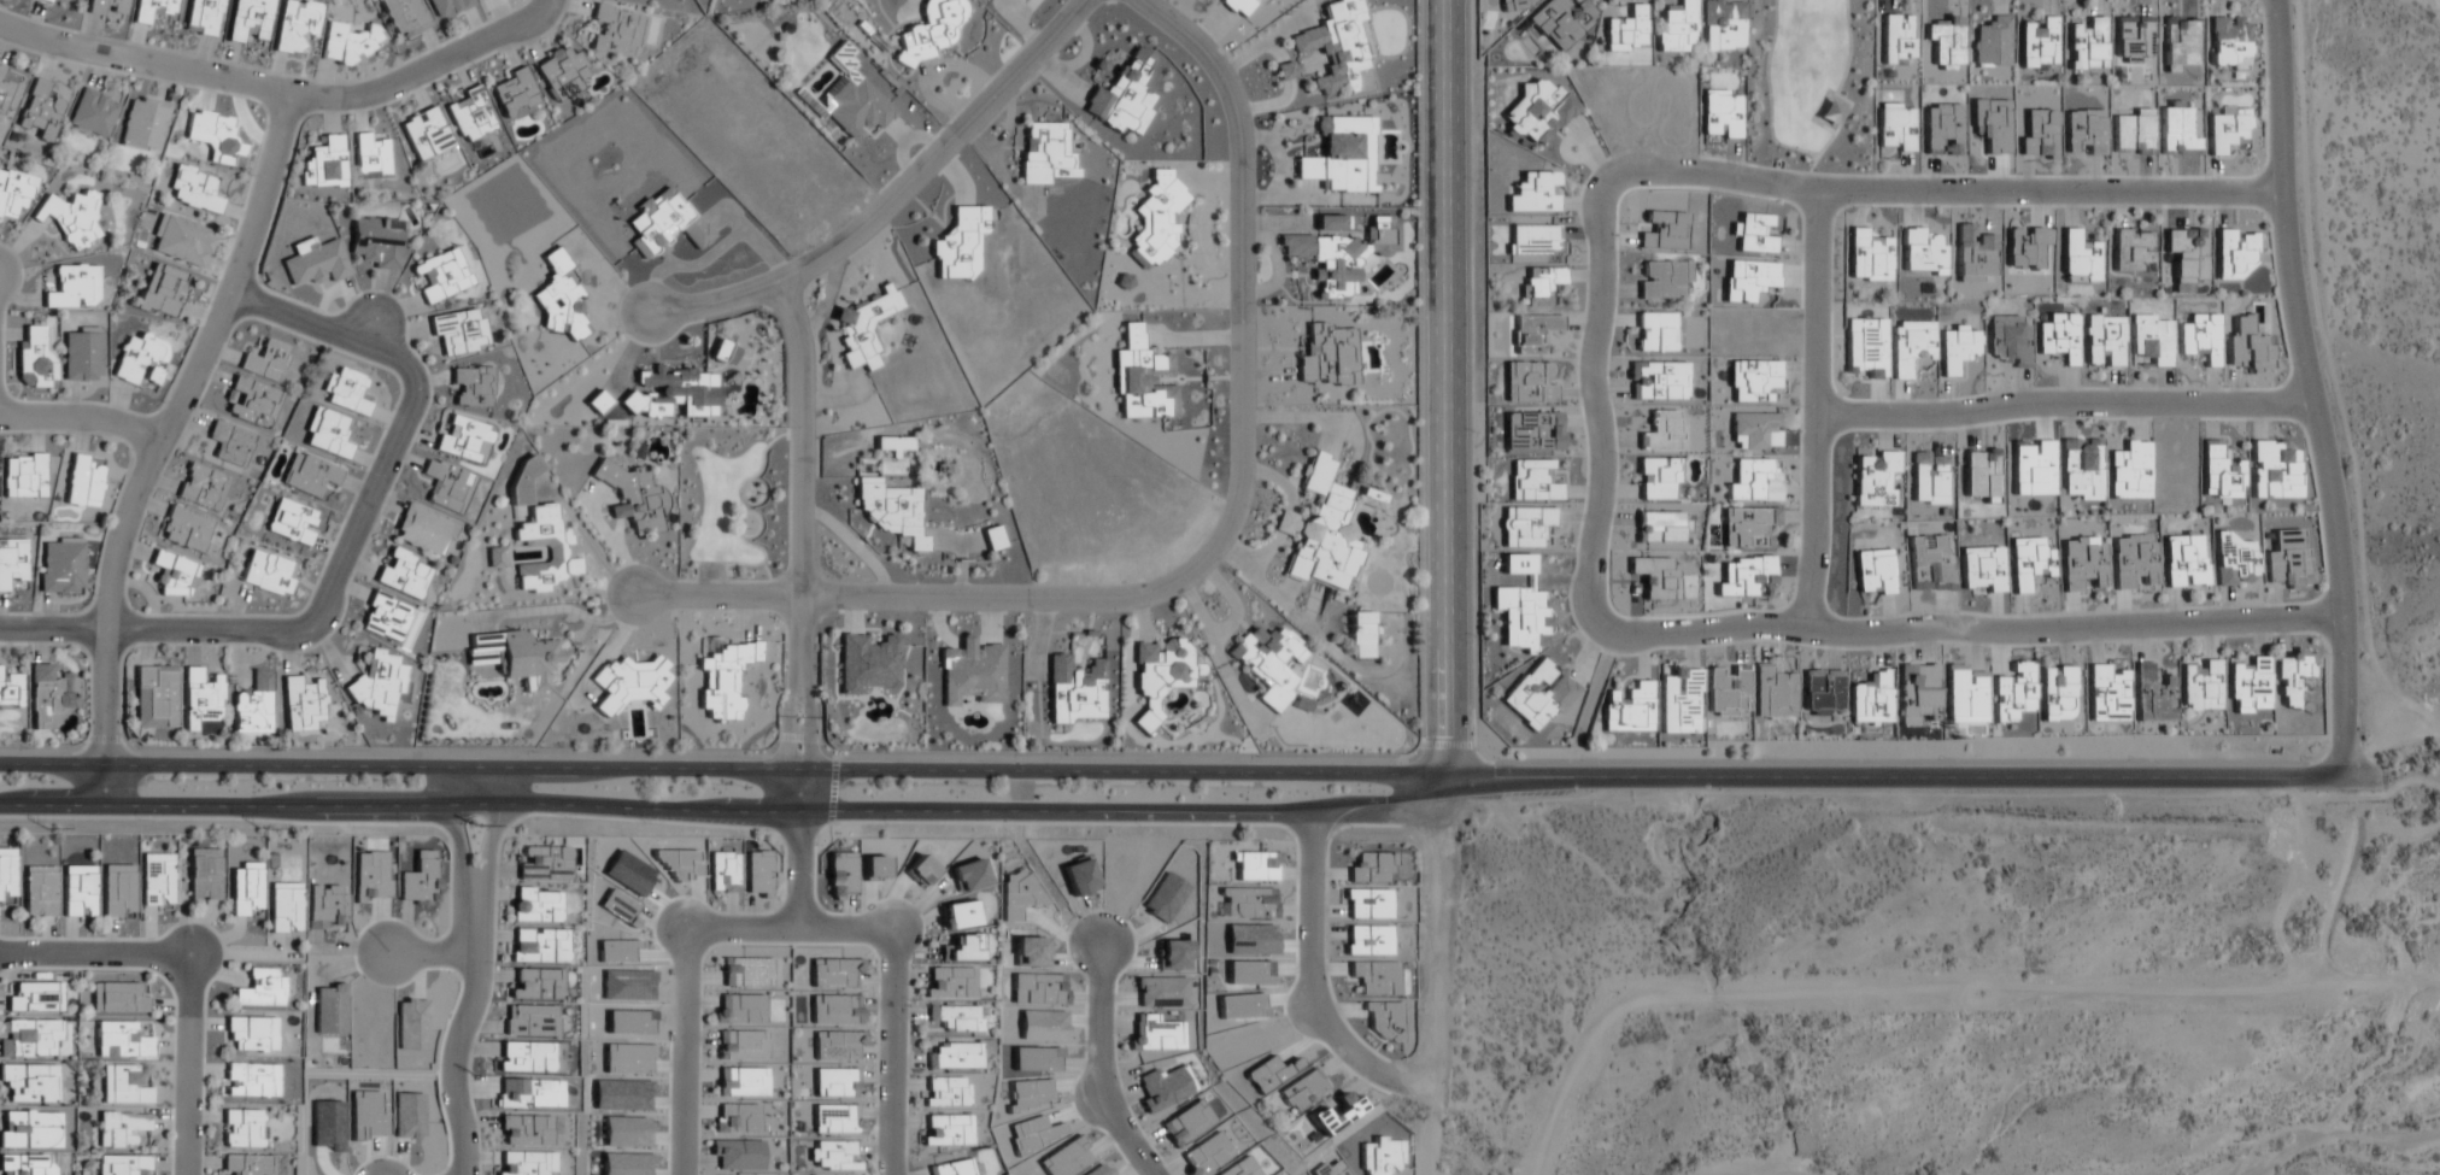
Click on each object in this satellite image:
building: (45, 0)
building: (77, 0)
building: (1521, 2)
building: (1232, 5)
building: (447, 7)
building: (106, 8)
building: (152, 10)
street lamp: (2259, 16)
building: (203, 17)
building: (404, 17)
building: (248, 19)
building: (1561, 22)
building: (294, 24)
building: (1722, 25)
building: (1676, 27)
building: (1625, 29)
building: (616, 30)
building: (931, 30)
building: (1898, 39)
building: (1993, 42)
building: (2229, 43)
building: (347, 45)
building: (2037, 45)
building: (2087, 45)
building: (1336, 46)
street lamp: (473, 64)
building: (1288, 70)
building: (562, 74)
street lamp: (134, 78)
park: (1816, 87)
street lamp: (1417, 88)
building: (8, 89)
road: (281, 89)
building: (514, 94)
building: (1124, 95)
building: (852, 99)
building: (1537, 110)
building: (40, 112)
building: (92, 113)
building: (1720, 113)
building: (470, 116)
street lamp: (1255, 118)
building: (143, 124)
street lamp: (940, 125)
building: (1895, 128)
building: (2227, 128)
building: (2084, 131)
building: (424, 134)
building: (216, 137)
street lamp: (1783, 149)
building: (1045, 153)
building: (1342, 155)
building: (370, 157)
building: (324, 164)
street lamp: (2061, 174)
street lamp: (1584, 180)
street lamp: (1473, 181)
building: (194, 190)
building: (13, 193)
building: (1535, 193)
road: (892, 198)
street lamp: (1853, 207)
building: (71, 217)
building: (1156, 219)
building: (1331, 222)
building: (664, 223)
street lamp: (2268, 227)
building: (1754, 233)
building: (1532, 239)
building: (182, 242)
building: (376, 242)
building: (960, 243)
building: (2027, 247)
building: (2133, 249)
building: (1922, 253)
building: (2234, 253)
street lamp: (788, 255)
building: (1341, 255)
building: (1975, 255)
building: (1867, 257)
building: (2078, 259)
building: (313, 263)
building: (441, 275)
building: (1662, 278)
building: (74, 288)
building: (1538, 288)
building: (160, 290)
building: (561, 302)
street lamp: (1417, 306)
building: (863, 327)
building: (1655, 331)
building: (459, 333)
street lamp: (620, 333)
building: (1532, 333)
building: (2059, 337)
building: (2201, 337)
building: (2008, 339)
building: (2152, 339)
building: (2105, 341)
building: (1912, 346)
building: (1957, 346)
street lamp: (321, 347)
building: (1865, 348)
building: (723, 352)
building: (82, 356)
building: (1328, 356)
building: (34, 359)
building: (140, 360)
building: (266, 360)
street lamp: (2287, 364)
building: (1142, 380)
building: (1754, 380)
building: (1656, 381)
building: (1530, 382)
road: (2310, 386)
building: (471, 387)
street lamp: (2034, 387)
road: (1445, 388)
building: (345, 392)
building: (671, 393)
building: (251, 403)
building: (598, 403)
road: (2064, 404)
street lamp: (1799, 406)
road: (1816, 410)
road: (82, 417)
street lamp: (1954, 430)
building: (1532, 431)
building: (1755, 431)
building: (327, 433)
street lamp: (1474, 433)
road: (1600, 437)
road: (159, 440)
building: (463, 440)
building: (230, 442)
building: (895, 443)
street lamp: (1618, 454)
building: (2080, 469)
building: (2272, 470)
building: (2128, 471)
street lamp: (363, 472)
building: (2219, 472)
building: (23, 475)
building: (309, 475)
building: (1873, 477)
building: (1658, 478)
building: (1928, 478)
building: (523, 481)
building: (1532, 481)
building: (1754, 481)
building: (83, 482)
building: (446, 486)
building: (201, 487)
building: (632, 495)
building: (1369, 498)
street lamp: (1251, 509)
building: (890, 510)
building: (291, 521)
building: (1525, 527)
building: (1747, 527)
building: (186, 530)
building: (422, 530)
building: (1320, 530)
building: (993, 539)
building: (558, 547)
road: (1214, 548)
road: (345, 550)
street lamp: (1418, 559)
building: (2134, 560)
building: (2186, 560)
building: (2234, 560)
building: (12, 563)
building: (2029, 563)
building: (2083, 563)
building: (1521, 564)
building: (61, 566)
building: (1982, 570)
building: (1873, 572)
building: (268, 574)
building: (403, 574)
street lamp: (776, 574)
building: (174, 576)
building: (1744, 576)
road: (799, 604)
street lamp: (287, 613)
street lamp: (923, 615)
street lamp: (1120, 616)
building: (385, 617)
building: (1520, 617)
street lamp: (1576, 629)
building: (1360, 635)
street lamp: (1476, 638)
street lamp: (1799, 647)
street lamp: (2035, 648)
street lamp: (2327, 654)
building: (517, 658)
building: (868, 662)
building: (1268, 663)
building: (970, 674)
building: (1161, 675)
building: (2292, 677)
building: (725, 678)
building: (377, 683)
building: (629, 685)
building: (2200, 685)
building: (2248, 687)
building: (1075, 691)
building: (10, 692)
building: (1728, 692)
building: (1773, 693)
building: (1822, 693)
building: (2011, 693)
building: (2055, 693)
building: (2105, 693)
building: (1964, 694)
building: (2151, 694)
building: (1538, 695)
building: (47, 697)
building: (200, 697)
building: (154, 698)
building: (1870, 699)
building: (1681, 701)
building: (301, 704)
building: (253, 706)
street lamp: (799, 706)
building: (1629, 709)
street lamp: (25, 748)
street lamp: (274, 750)
street lamp: (533, 752)
street lamp: (753, 752)
street lamp: (1021, 756)
street lamp: (1256, 757)
street lamp: (1586, 758)
street lamp: (1769, 758)
street lamp: (1943, 758)
street lamp: (2134, 758)
street lamp: (2305, 758)
road: (723, 769)
road: (1891, 777)
road: (732, 816)
street lamp: (139, 821)
street lamp: (644, 823)
street lamp: (887, 826)
street lamp: (400, 827)
street lamp: (1138, 827)
power tower: (462, 828)
street lamp: (1351, 828)
power tower: (45, 829)
power tower: (260, 829)
building: (544, 864)
building: (1257, 866)
building: (1372, 869)
building: (725, 873)
building: (757, 875)
building: (204, 876)
building: (6, 877)
building: (157, 880)
building: (117, 891)
building: (245, 891)
building: (77, 892)
building: (39, 893)
building: (1366, 904)
building: (535, 906)
building: (283, 909)
building: (960, 916)
road: (787, 930)
building: (1367, 940)
building: (538, 946)
building: (964, 950)
road: (427, 963)
road: (189, 973)
road: (469, 973)
building: (1376, 977)
building: (950, 982)
building: (260, 989)
road: (1306, 992)
building: (33, 999)
building: (117, 999)
building: (835, 1011)
building: (956, 1018)
building: (1383, 1021)
building: (252, 1033)
building: (1156, 1034)
building: (28, 1040)
building: (122, 1040)
building: (835, 1047)
building: (955, 1056)
road: (1097, 1070)
power tower: (464, 1074)
building: (250, 1080)
building: (29, 1083)
building: (834, 1085)
building: (123, 1086)
building: (1166, 1087)
building: (1301, 1091)
building: (945, 1092)
building: (835, 1120)
building: (122, 1129)
building: (241, 1129)
building: (29, 1130)
building: (524, 1130)
building: (946, 1130)
building: (832, 1156)
building: (1383, 1156)
building: (526, 1163)
building: (27, 1164)
building: (123, 1164)
building: (247, 1164)
building: (954, 1168)

